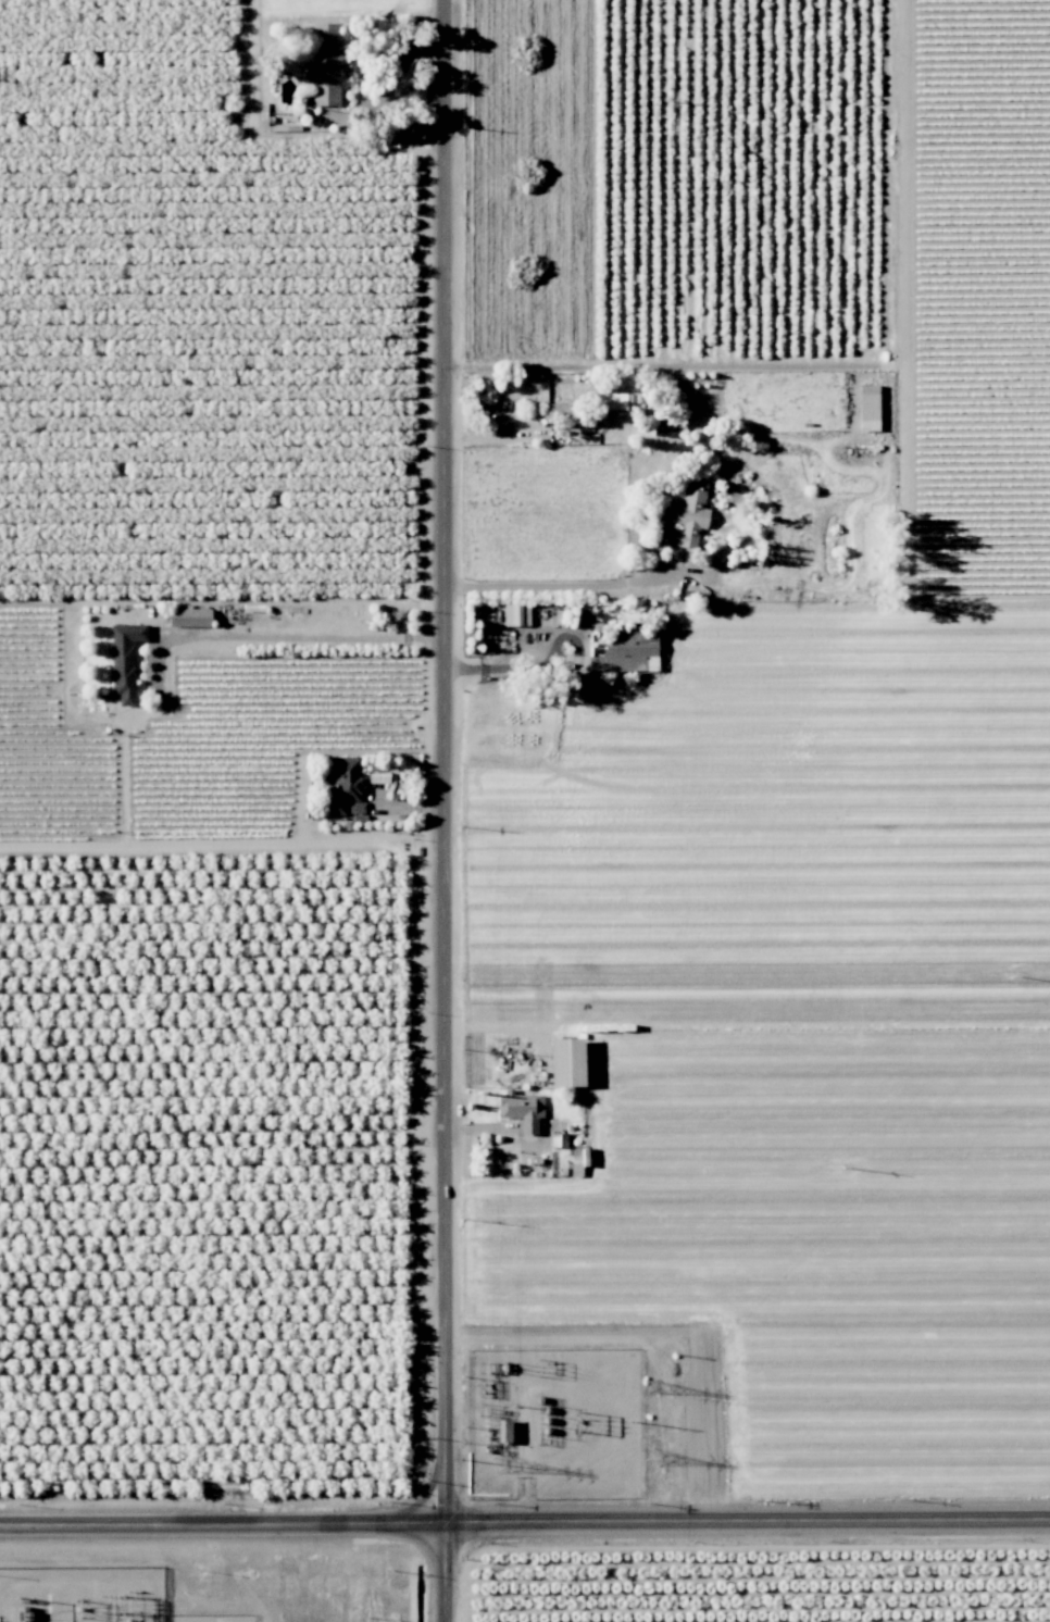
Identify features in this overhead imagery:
road: (251, 61)
building: (324, 63)
road: (386, 83)
crop: (196, 330)
road: (671, 364)
building: (611, 400)
building: (867, 407)
building: (559, 411)
building: (688, 514)
road: (558, 586)
building: (515, 613)
building: (188, 616)
road: (312, 636)
building: (626, 651)
building: (124, 659)
road: (551, 665)
building: (377, 776)
building: (343, 784)
road: (453, 811)
building: (565, 1061)
building: (522, 1108)
building: (558, 1139)
crop: (202, 1178)
crop: (795, 1214)
building: (501, 1430)
road: (525, 1520)
crop: (753, 1580)

